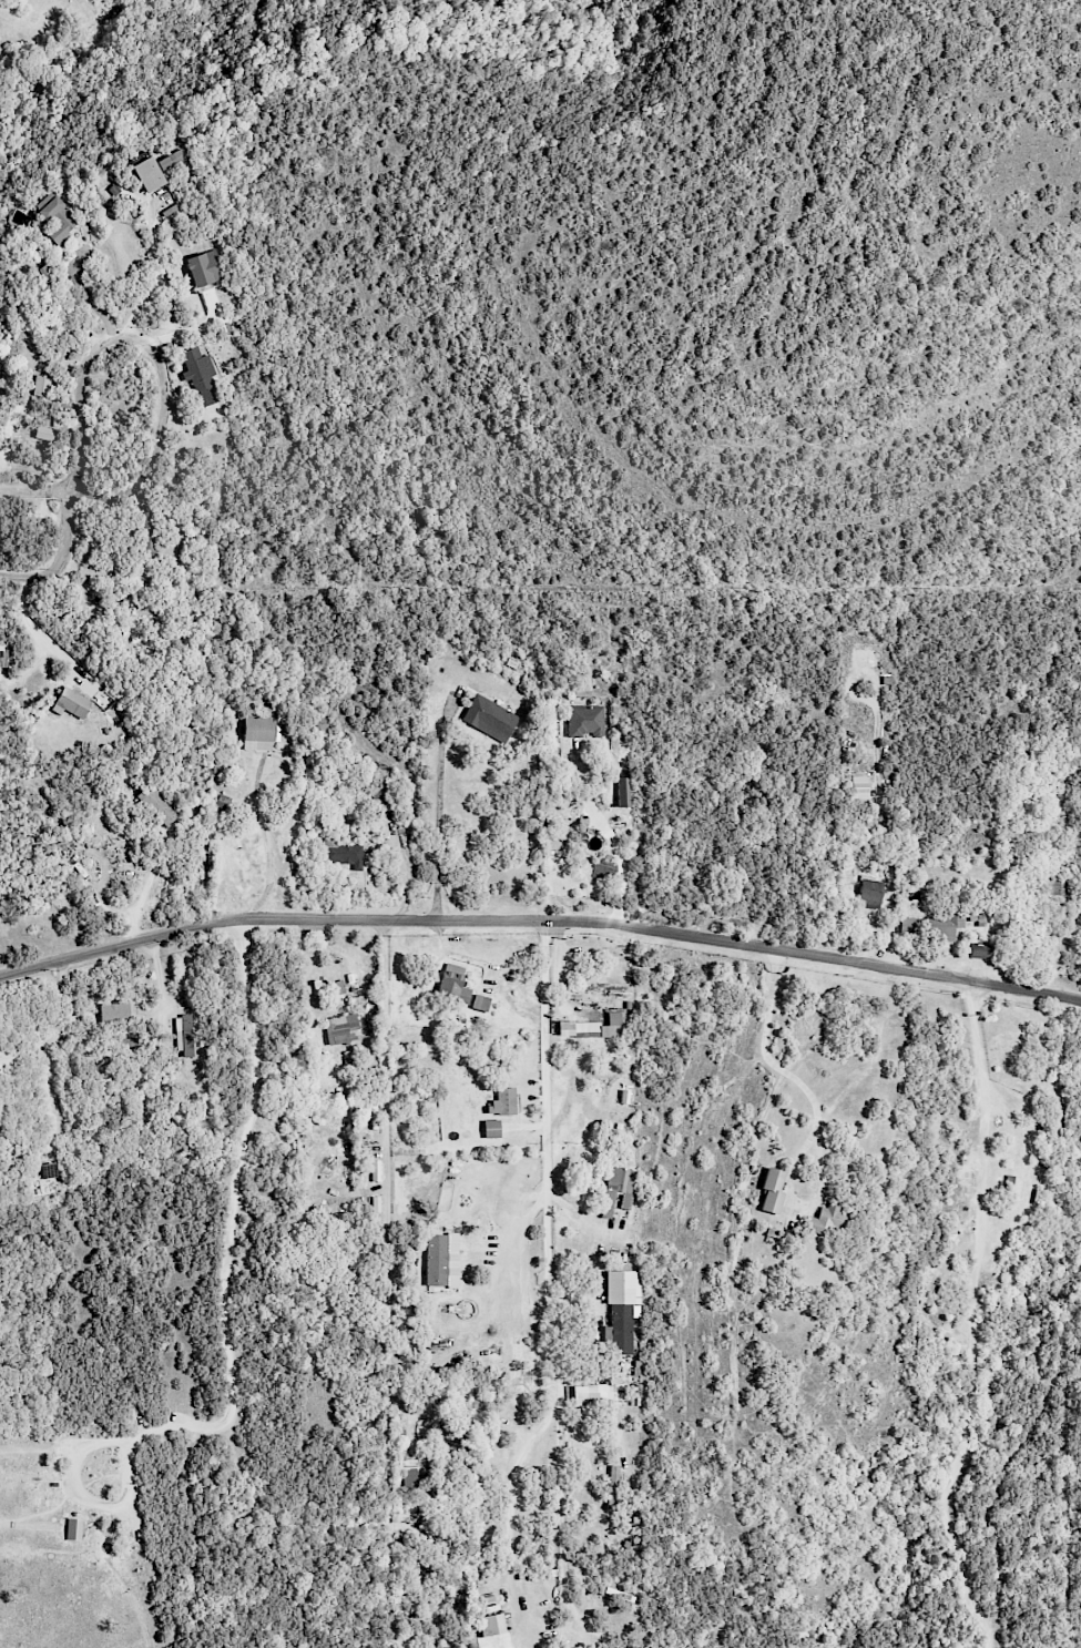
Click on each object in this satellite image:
building: (171, 161)
building: (147, 174)
building: (55, 217)
building: (204, 268)
road: (88, 295)
building: (62, 357)
building: (200, 375)
road: (162, 376)
building: (41, 385)
building: (42, 433)
road: (32, 491)
building: (145, 532)
road: (62, 557)
road: (35, 632)
building: (3, 659)
building: (72, 702)
building: (489, 718)
building: (584, 720)
building: (258, 733)
building: (858, 787)
building: (378, 794)
building: (157, 805)
road: (438, 808)
road: (609, 831)
road: (271, 845)
building: (341, 853)
road: (143, 891)
building: (869, 893)
building: (0, 915)
road: (540, 919)
building: (929, 926)
building: (978, 950)
building: (452, 984)
building: (479, 1003)
building: (114, 1013)
building: (593, 1027)
building: (341, 1029)
building: (183, 1036)
building: (6, 1058)
park: (595, 1080)
building: (502, 1102)
road: (816, 1111)
building: (490, 1128)
building: (48, 1170)
building: (618, 1191)
building: (772, 1191)
building: (827, 1219)
road: (228, 1244)
building: (441, 1260)
road: (548, 1263)
road: (384, 1283)
building: (620, 1310)
road: (976, 1321)
park: (174, 1367)
building: (592, 1395)
building: (450, 1436)
building: (408, 1473)
building: (613, 1487)
road: (511, 1514)
building: (73, 1528)
building: (487, 1626)
building: (451, 1647)

